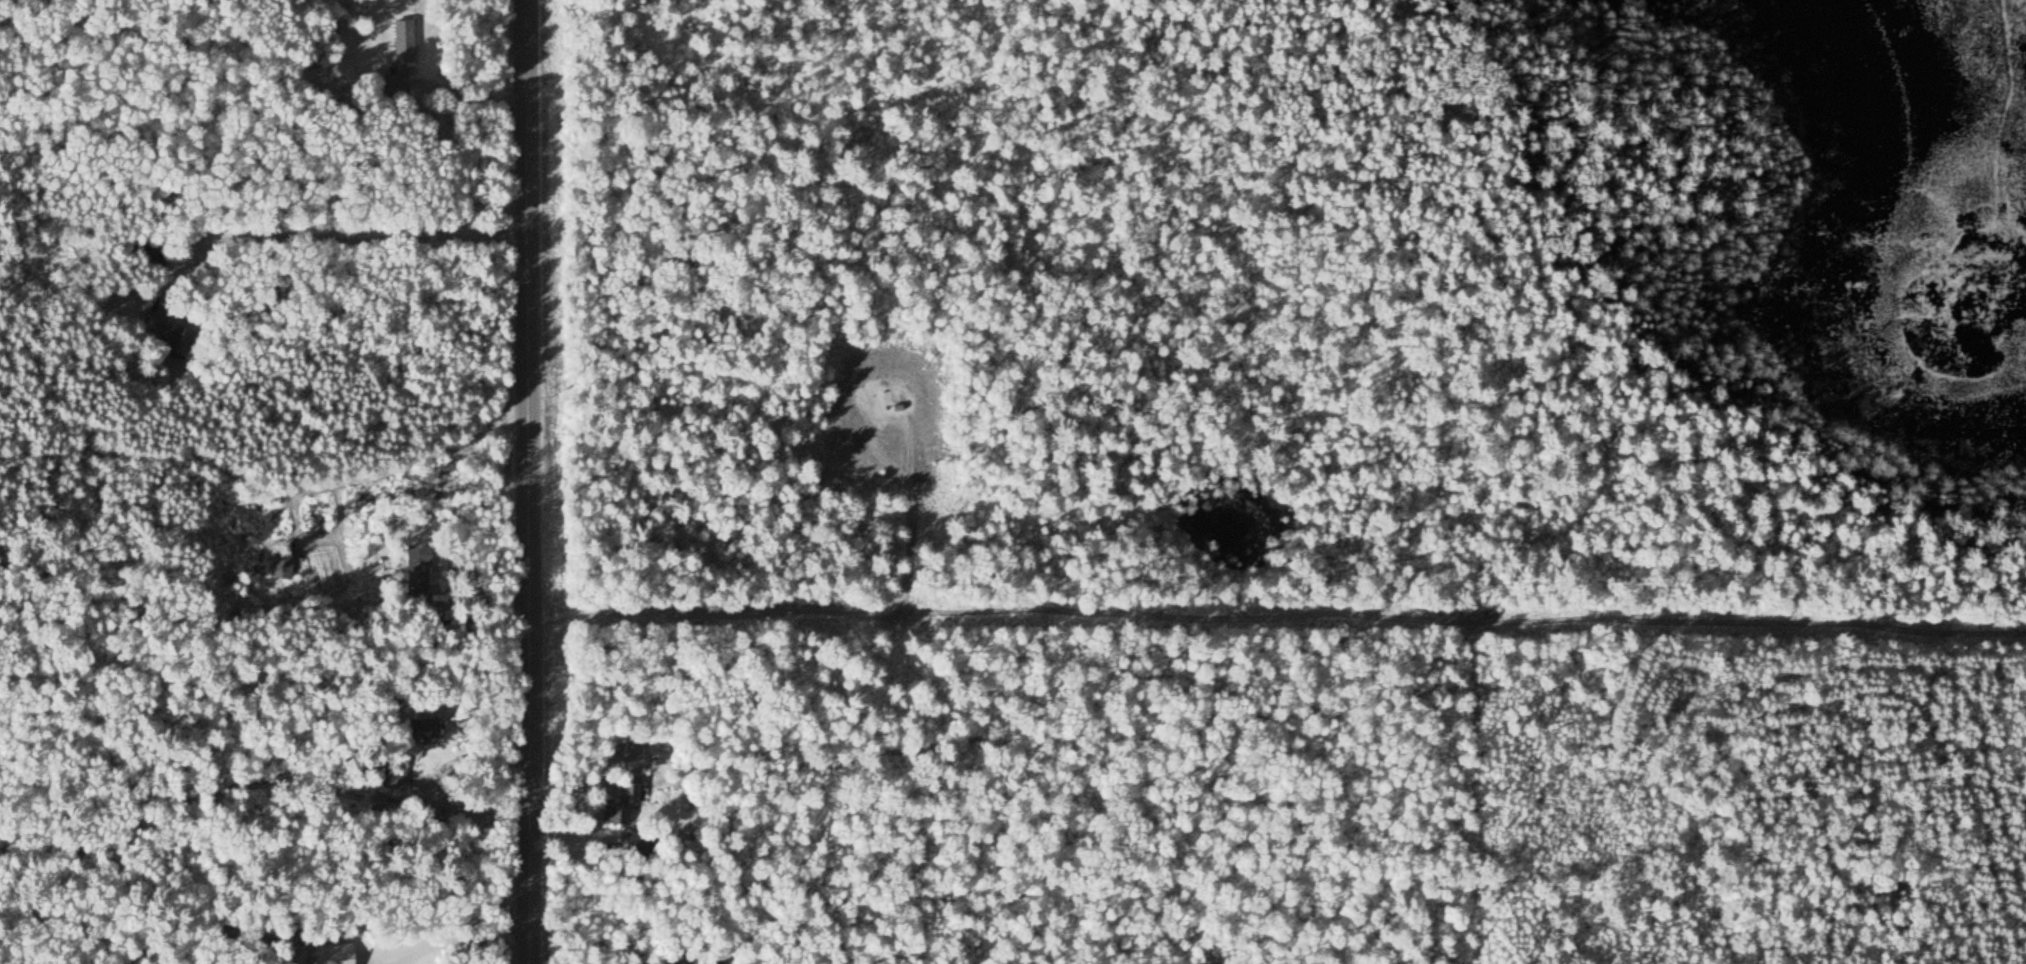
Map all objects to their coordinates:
building: (401, 56)
building: (146, 254)
building: (164, 332)
petroleum well: (893, 402)
road: (526, 481)
building: (416, 569)
road: (797, 613)
building: (420, 728)
building: (619, 806)
building: (340, 959)
building: (699, 959)

